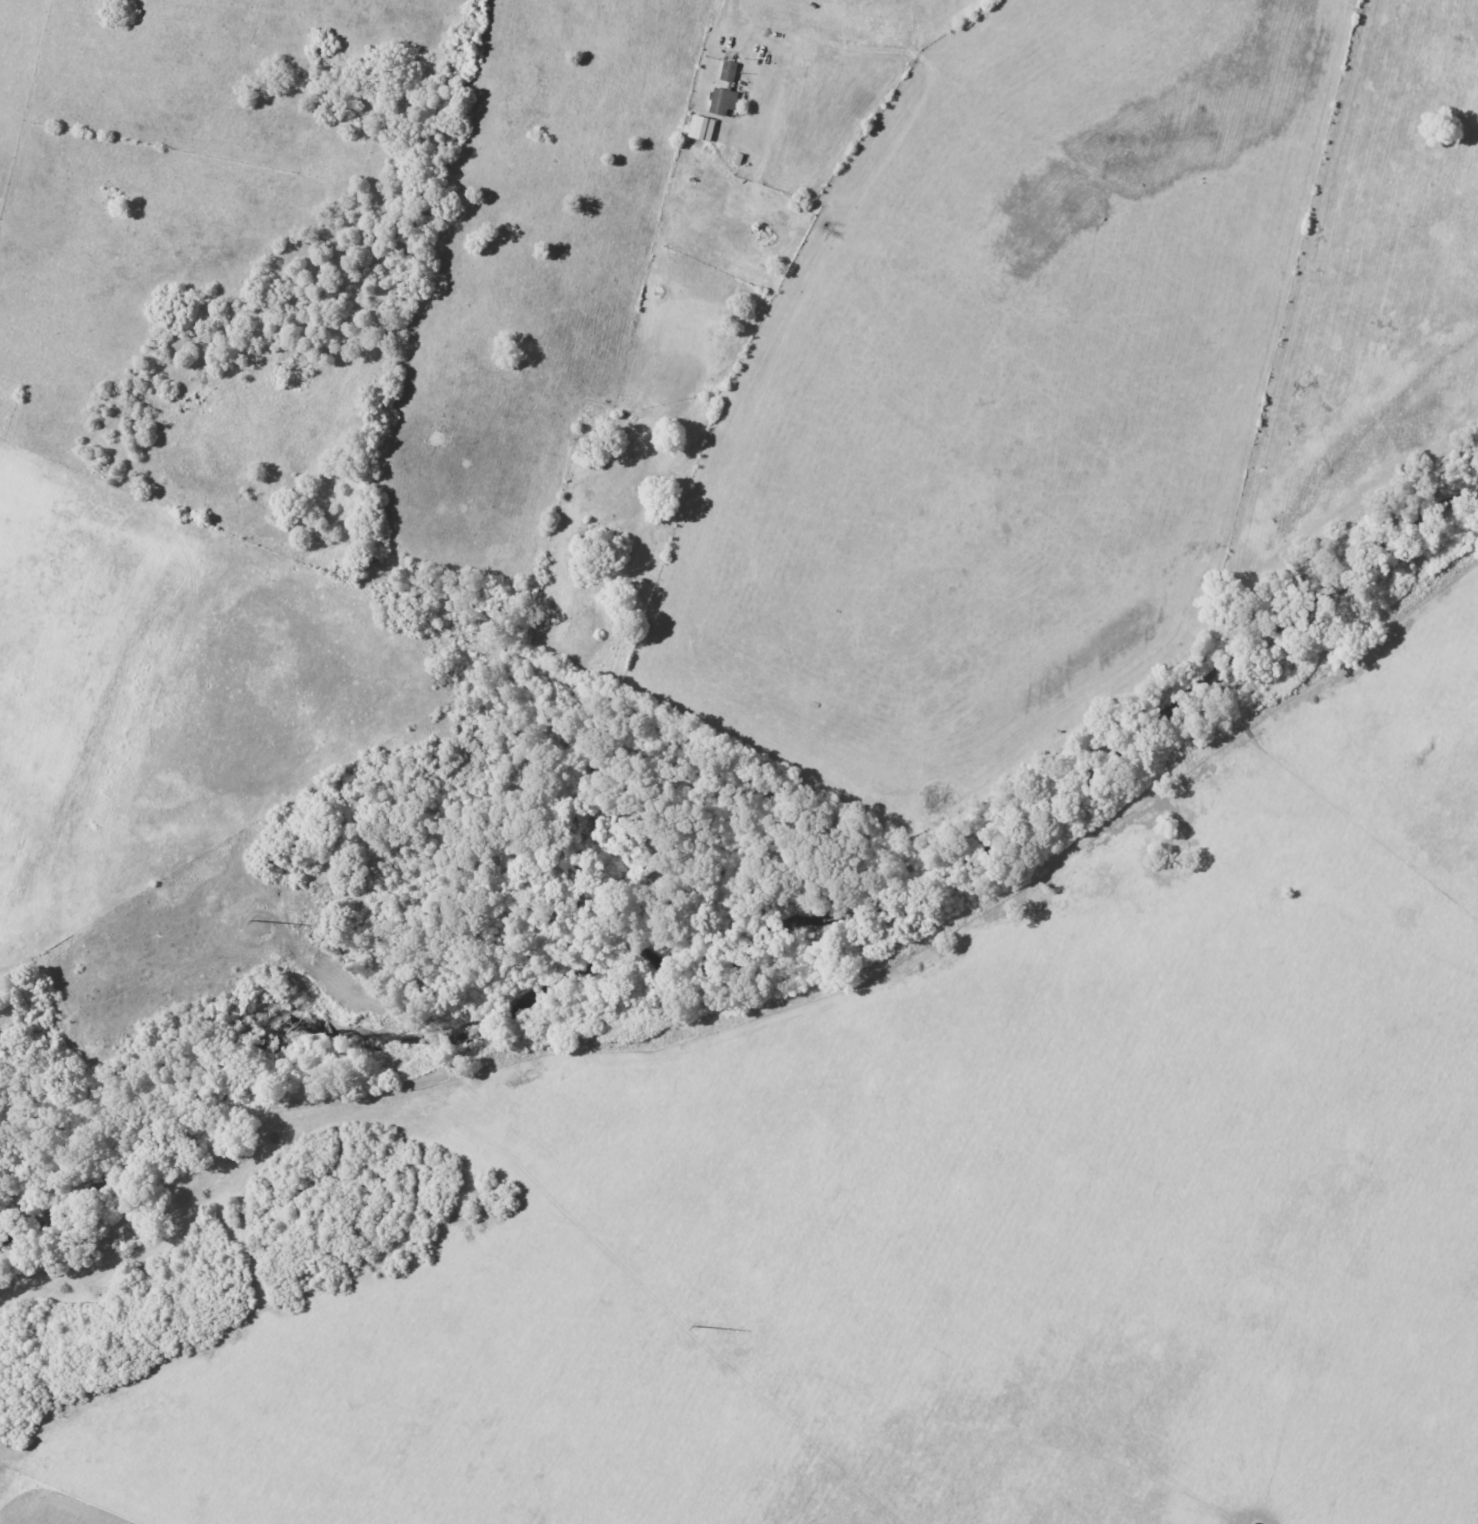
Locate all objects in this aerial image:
building: (723, 69)
building: (717, 99)
building: (697, 126)
road: (669, 219)
power tower: (260, 923)
power tower: (693, 1323)

